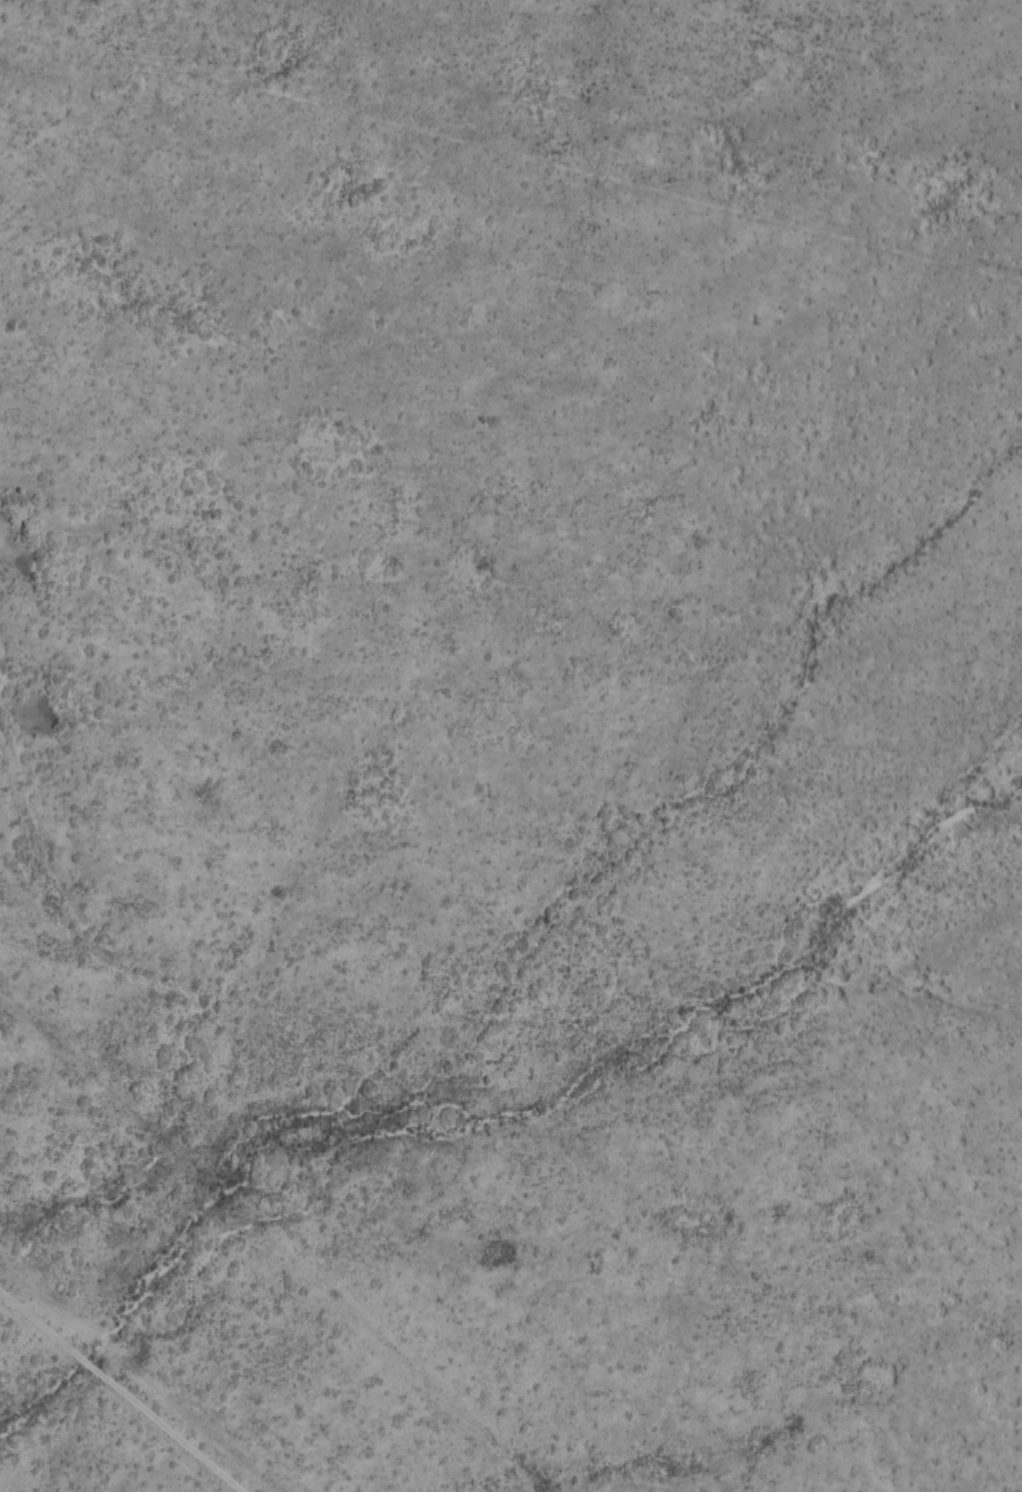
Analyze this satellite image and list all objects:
road: (293, 1188)

